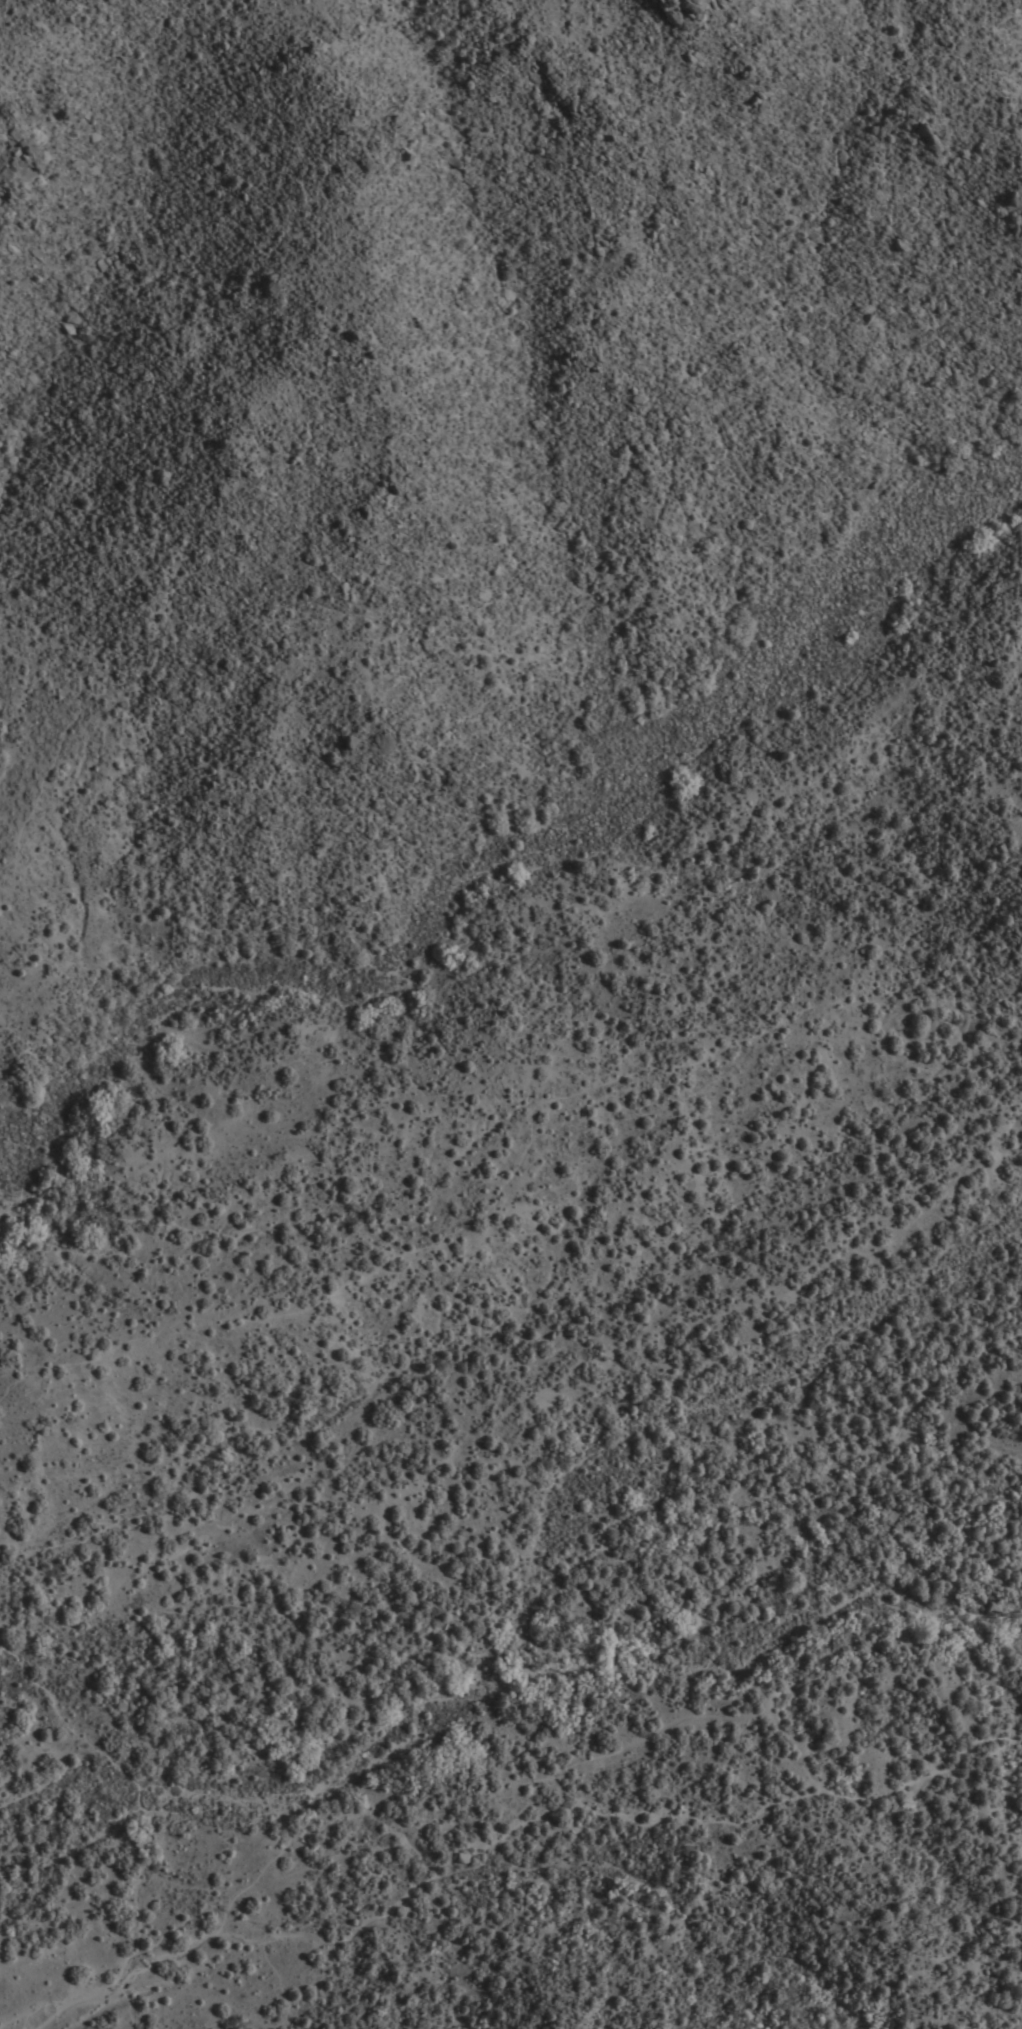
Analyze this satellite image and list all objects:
park: (133, 1301)
road: (145, 1823)
road: (495, 1837)

